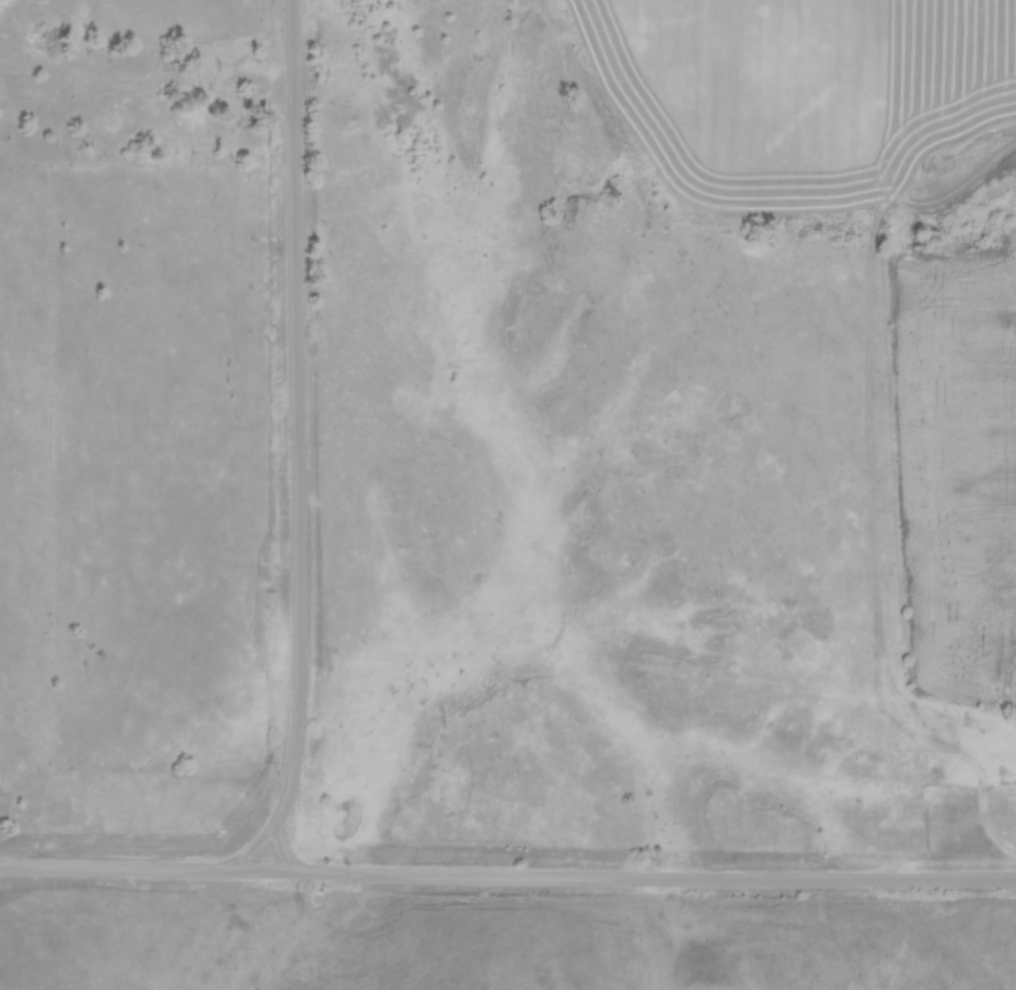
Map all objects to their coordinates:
road: (296, 448)
road: (507, 876)

